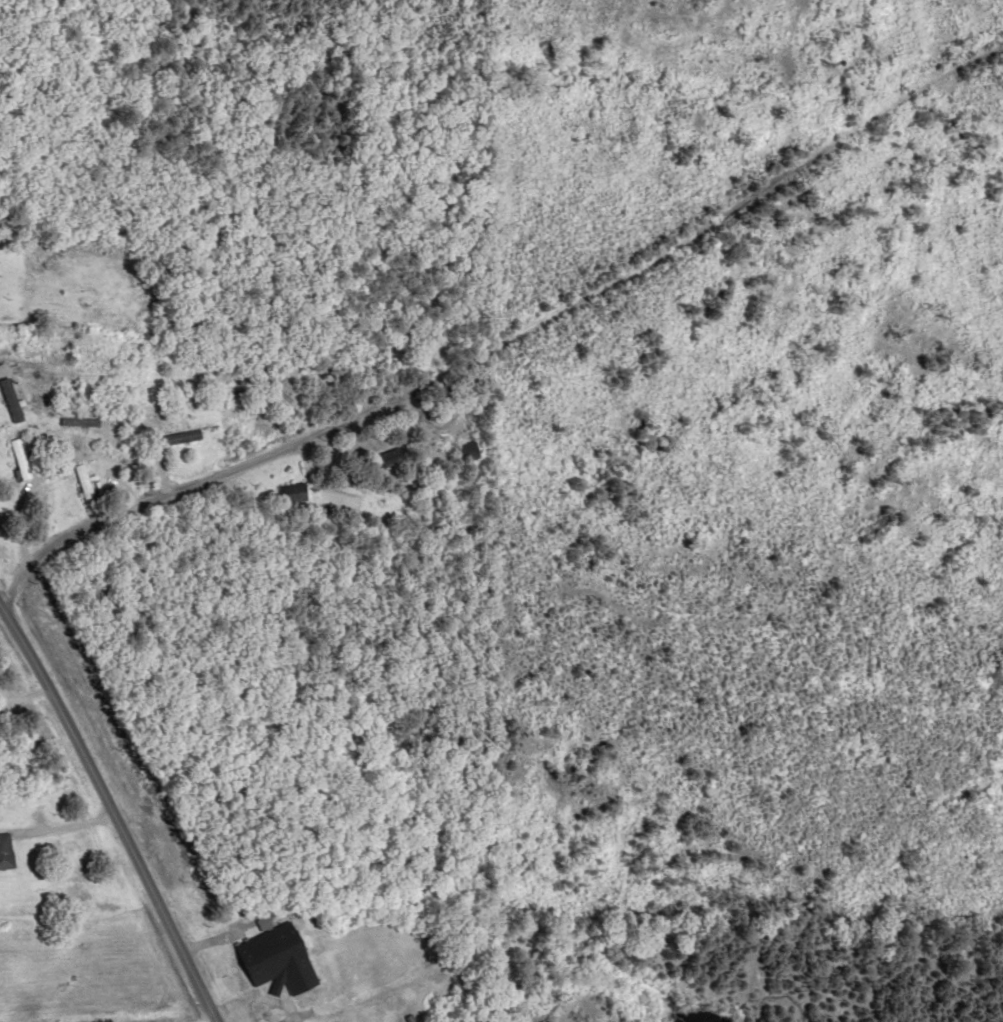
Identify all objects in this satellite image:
road: (456, 227)
building: (28, 283)
building: (14, 414)
building: (183, 437)
building: (470, 451)
building: (394, 457)
building: (20, 459)
building: (86, 485)
building: (294, 493)
road: (117, 807)
building: (6, 851)
building: (280, 959)

